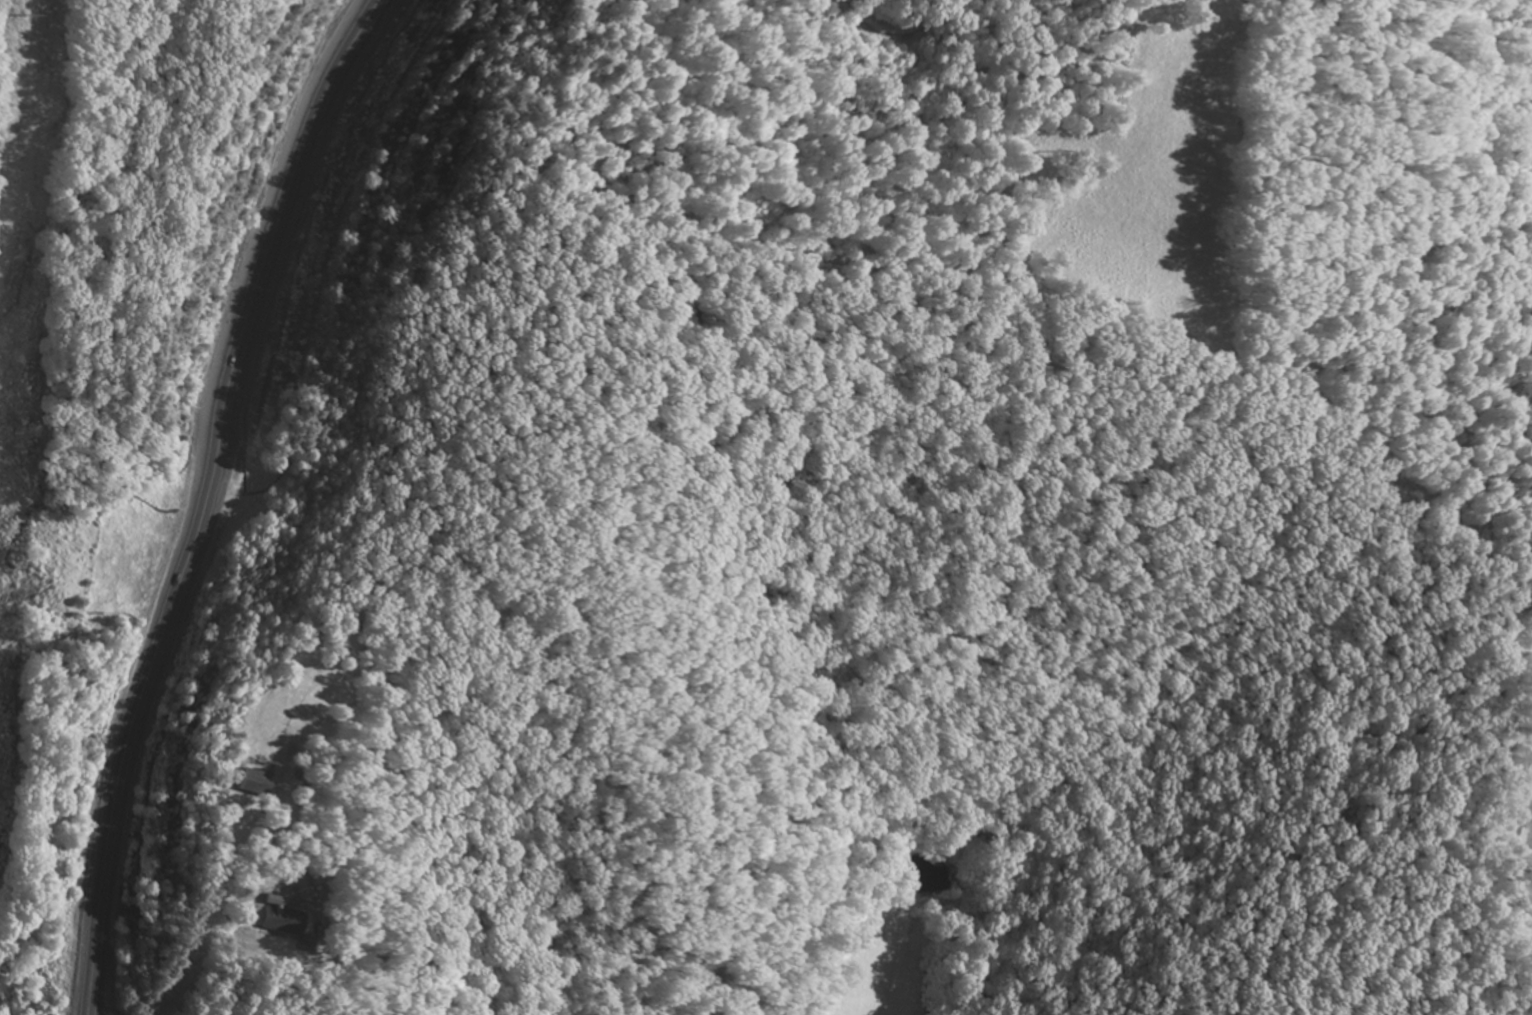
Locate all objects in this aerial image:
road: (206, 496)
building: (260, 783)
building: (280, 922)

